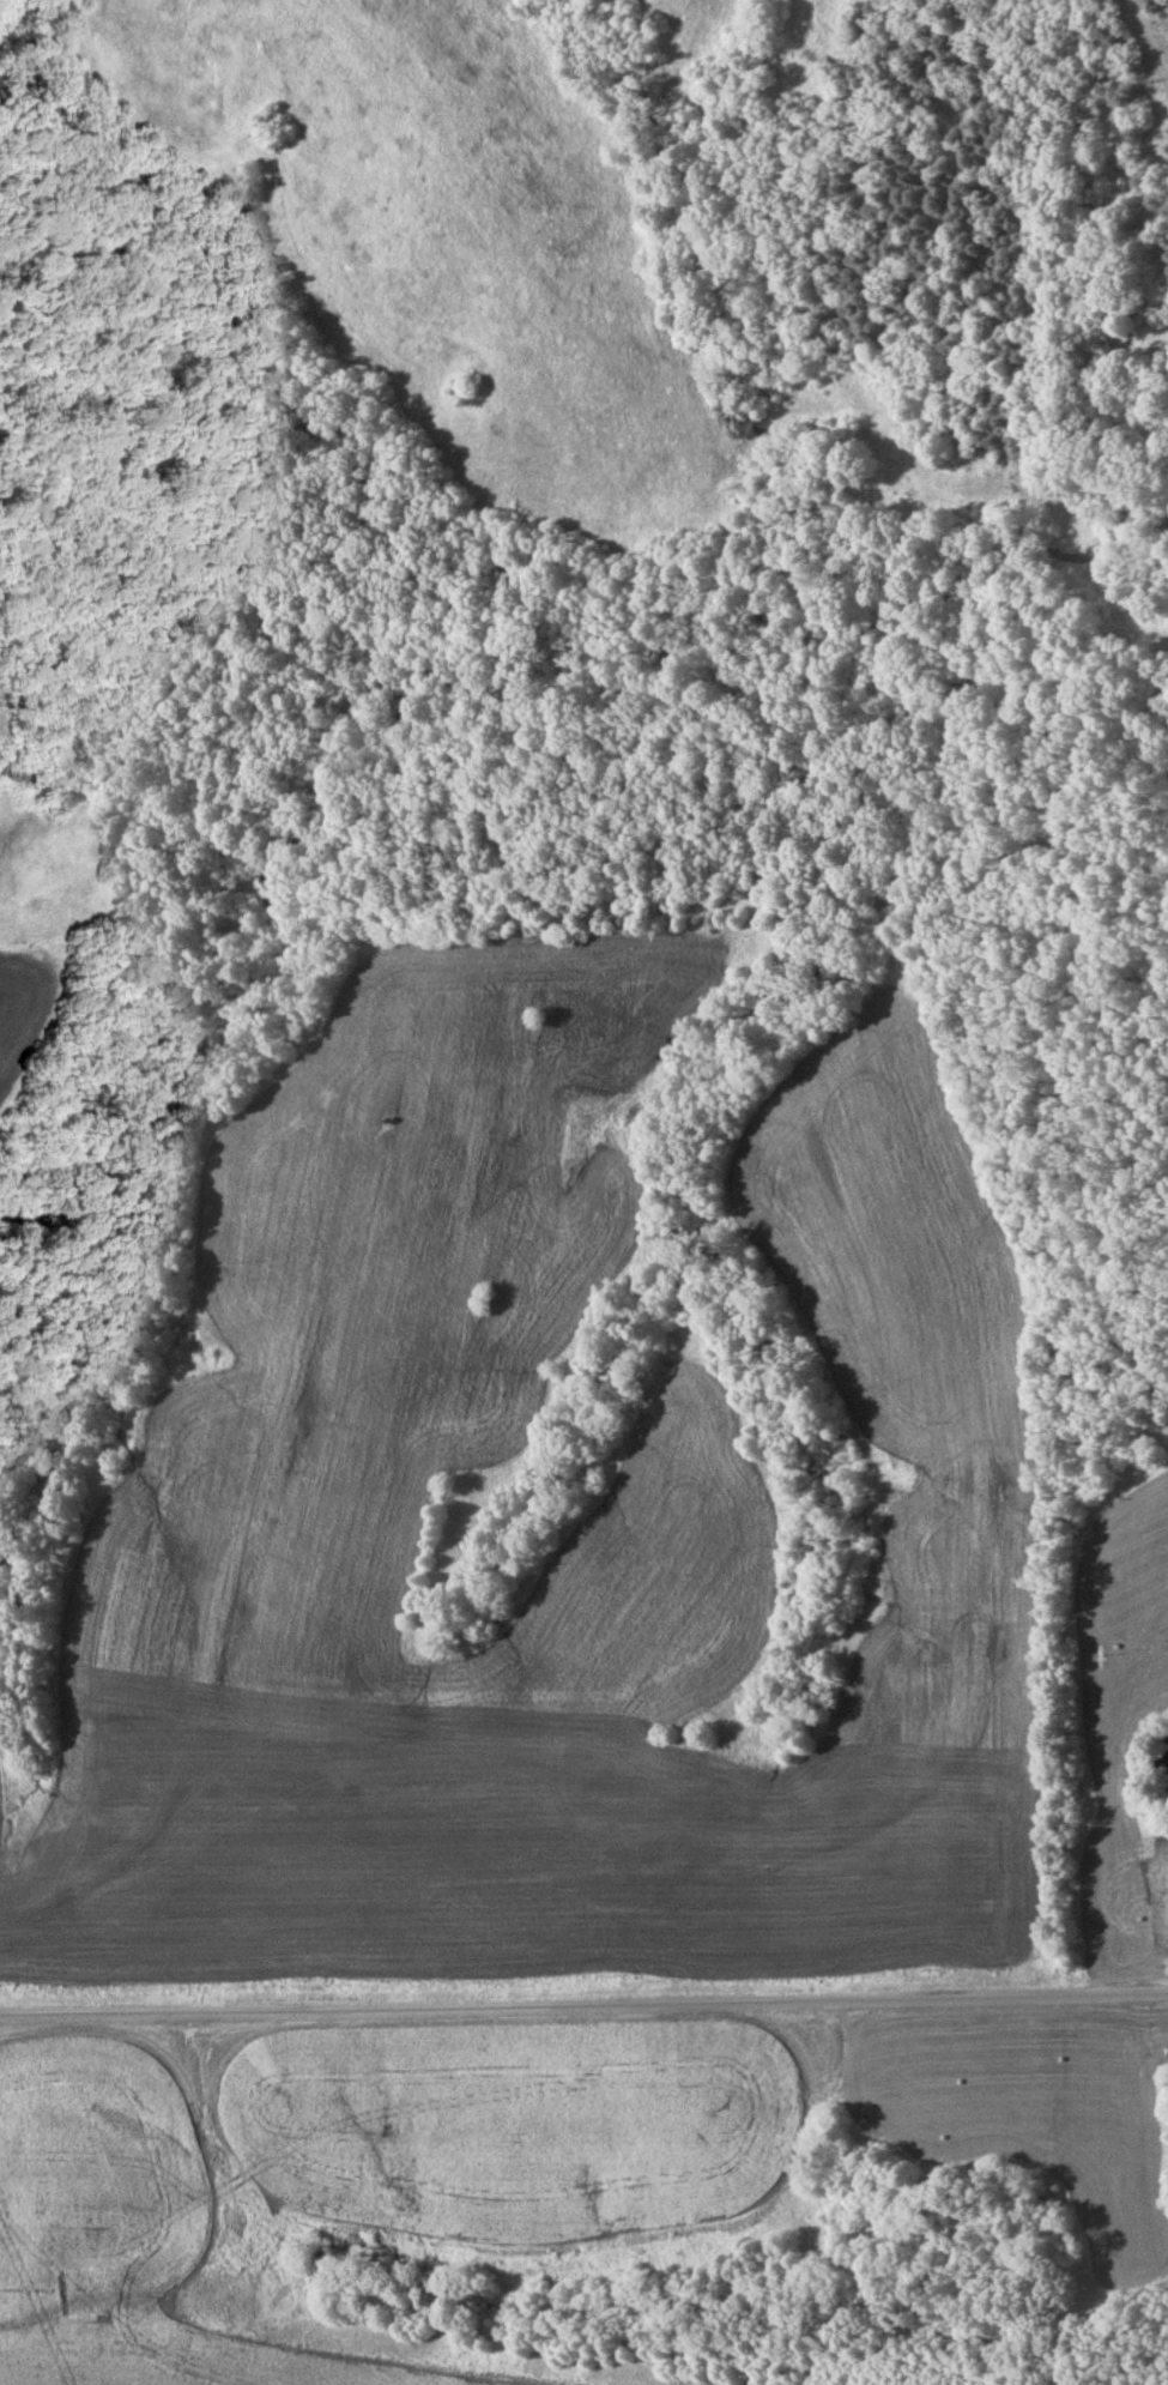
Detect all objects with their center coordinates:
road: (583, 2011)

